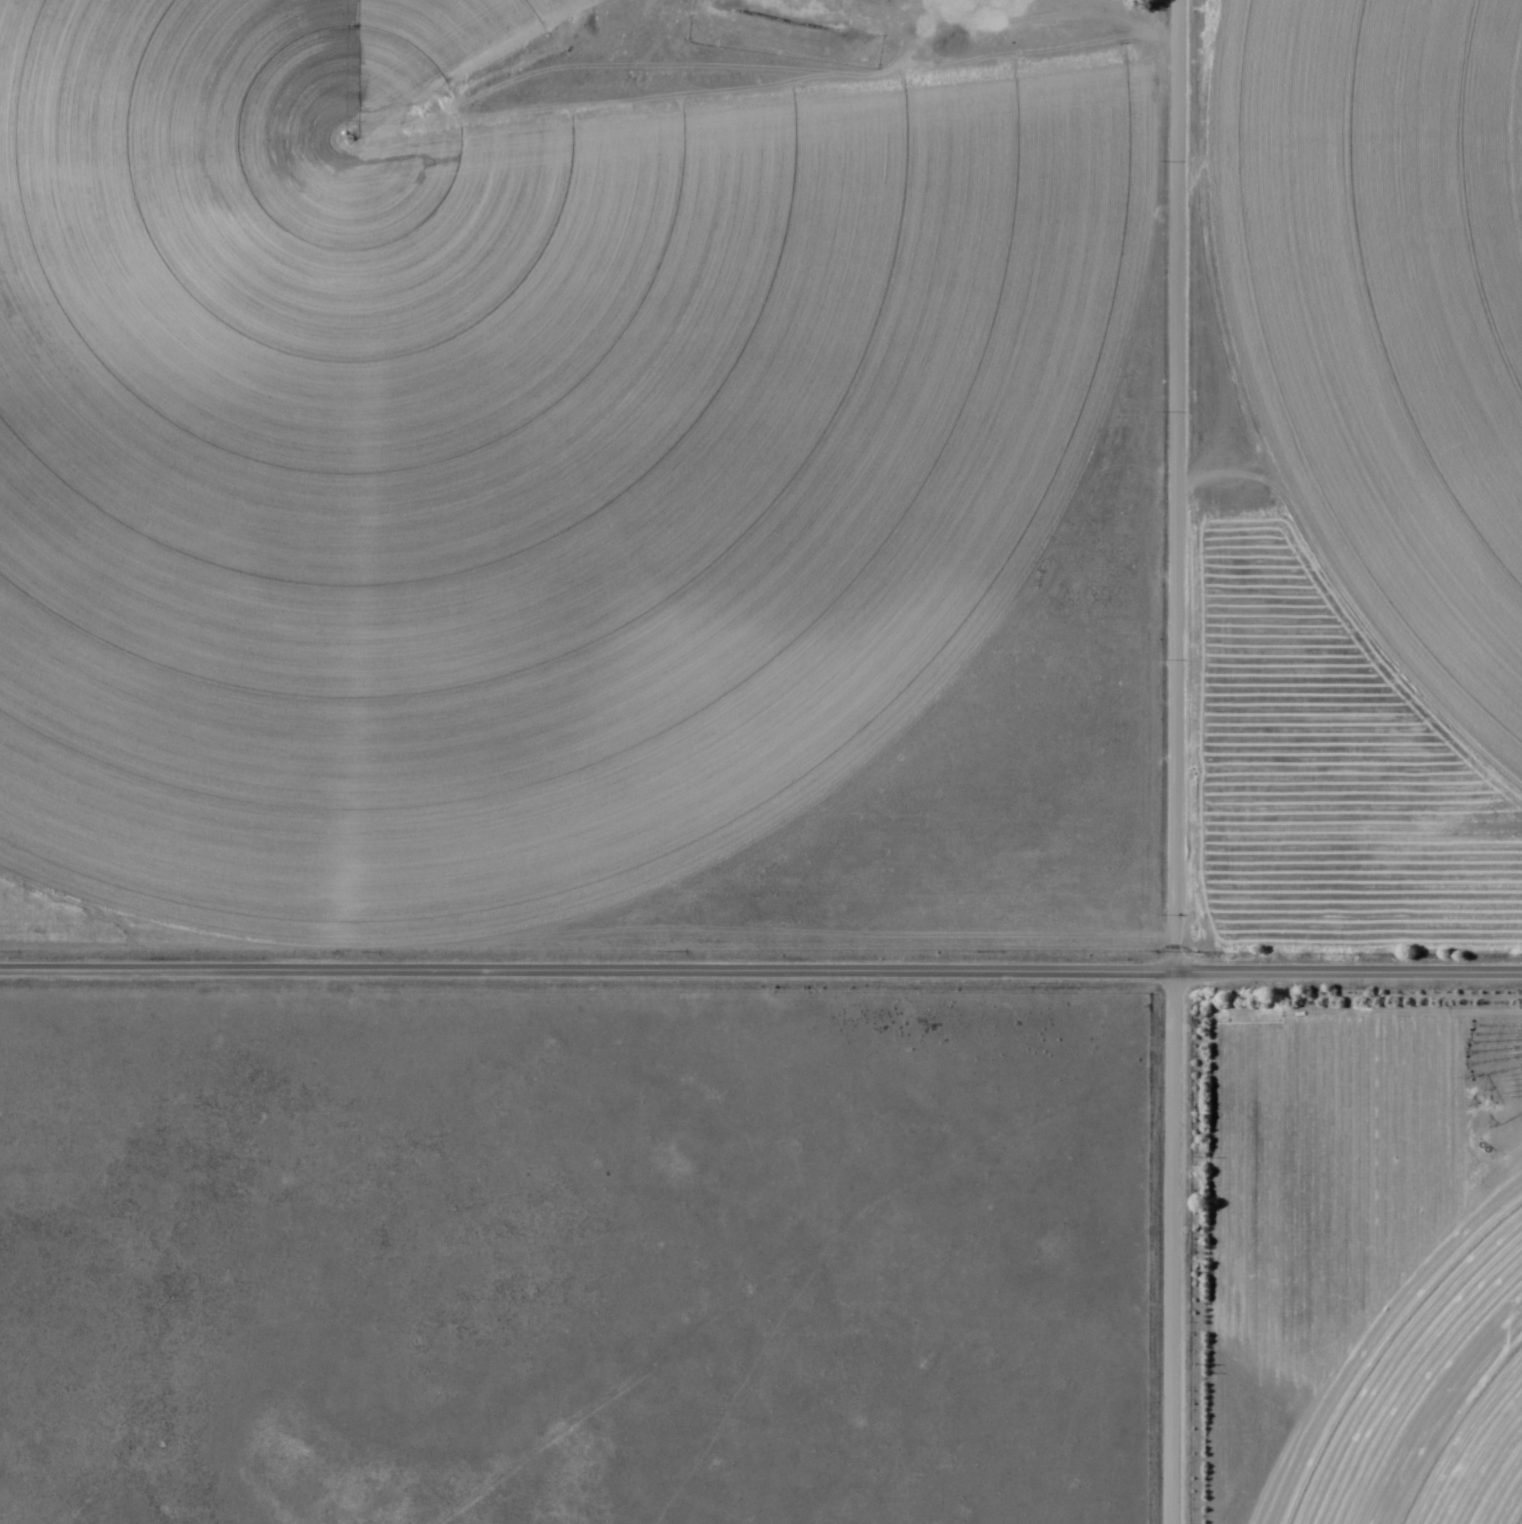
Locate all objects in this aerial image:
road: (1176, 761)
road: (761, 970)

